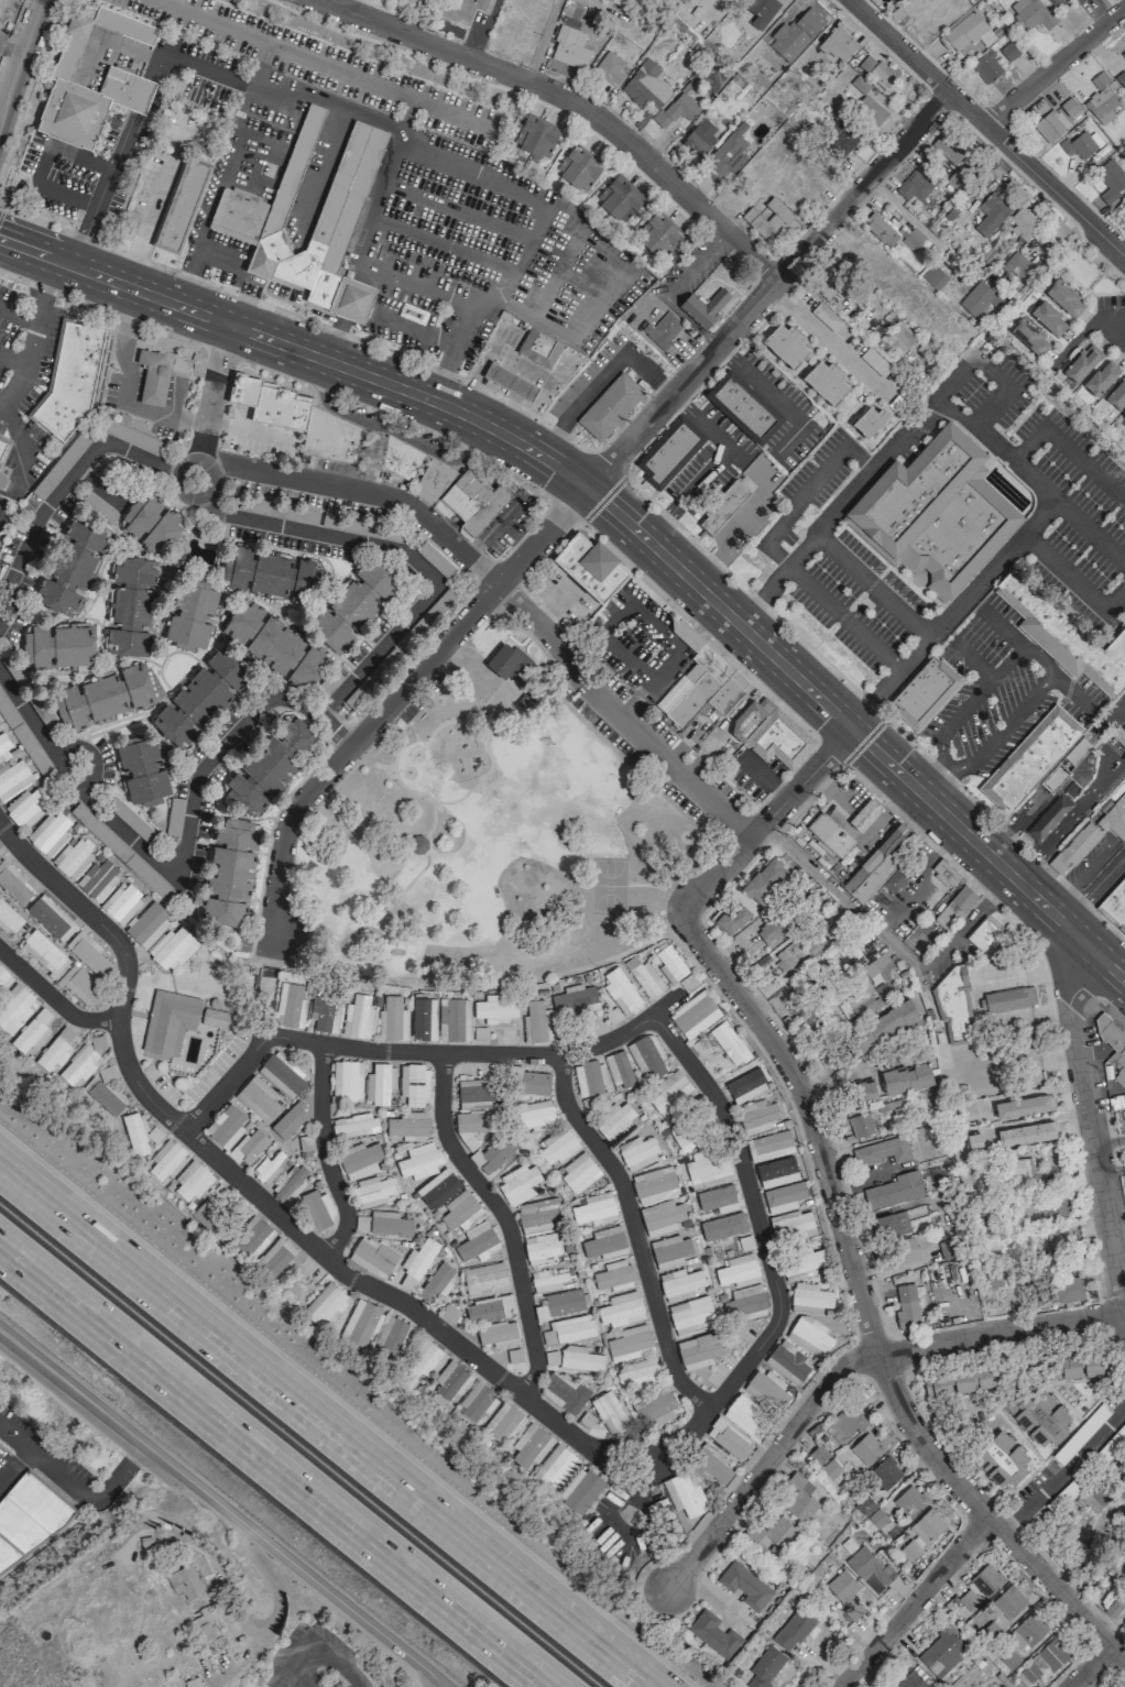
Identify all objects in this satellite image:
road: (587, 0)
building: (898, 0)
building: (1077, 1)
building: (620, 2)
building: (1058, 2)
building: (760, 4)
road: (353, 7)
building: (462, 9)
building: (930, 13)
building: (1033, 13)
building: (963, 33)
road: (543, 41)
building: (838, 45)
road: (877, 45)
building: (570, 47)
building: (1008, 52)
building: (1124, 53)
road: (407, 54)
road: (19, 55)
building: (1123, 57)
road: (328, 64)
road: (1052, 65)
building: (611, 67)
building: (987, 67)
building: (877, 70)
road: (229, 76)
building: (1123, 79)
building: (127, 80)
road: (25, 85)
building: (646, 85)
building: (855, 90)
road: (570, 100)
road: (937, 100)
building: (1104, 100)
building: (1069, 107)
building: (678, 109)
building: (873, 111)
building: (1051, 125)
road: (985, 129)
building: (537, 138)
building: (700, 138)
building: (841, 139)
building: (1080, 144)
building: (949, 149)
building: (728, 155)
road: (42, 162)
road: (116, 162)
building: (579, 169)
road: (383, 176)
building: (1113, 178)
building: (915, 187)
road: (518, 191)
road: (1039, 193)
road: (212, 194)
building: (620, 199)
building: (182, 207)
road: (455, 211)
building: (992, 212)
building: (251, 216)
building: (768, 219)
building: (1023, 223)
building: (881, 229)
building: (658, 235)
road: (86, 237)
building: (913, 239)
road: (439, 244)
road: (221, 250)
road: (37, 253)
road: (520, 253)
building: (872, 256)
building: (1019, 265)
road: (553, 269)
building: (935, 276)
building: (828, 277)
road: (424, 282)
road: (182, 286)
road: (580, 287)
road: (674, 287)
road: (766, 289)
building: (1066, 298)
building: (976, 299)
road: (602, 303)
building: (706, 306)
road: (101, 308)
building: (939, 310)
road: (539, 311)
road: (19, 313)
building: (827, 317)
road: (299, 318)
building: (1049, 318)
road: (1115, 321)
road: (463, 326)
road: (128, 329)
building: (664, 330)
road: (415, 332)
road: (33, 336)
building: (1030, 337)
building: (898, 338)
road: (828, 342)
building: (787, 344)
building: (539, 348)
road: (219, 358)
road: (613, 361)
building: (874, 361)
road: (12, 363)
building: (1082, 363)
road: (993, 372)
road: (275, 374)
road: (444, 374)
building: (151, 375)
building: (1102, 377)
building: (72, 381)
building: (511, 382)
building: (828, 382)
road: (214, 392)
road: (318, 395)
building: (1117, 395)
road: (774, 398)
building: (612, 405)
road: (145, 409)
building: (742, 409)
building: (299, 419)
road: (698, 419)
building: (1122, 420)
building: (869, 421)
road: (391, 429)
road: (249, 430)
road: (548, 438)
road: (24, 443)
building: (2, 449)
road: (1067, 450)
building: (669, 454)
road: (468, 456)
building: (397, 460)
road: (607, 464)
road: (68, 476)
road: (513, 476)
road: (1030, 476)
road: (577, 481)
road: (101, 490)
road: (685, 492)
building: (460, 495)
building: (723, 507)
road: (838, 508)
road: (564, 511)
building: (936, 513)
road: (0, 522)
building: (150, 523)
road: (494, 529)
road: (389, 547)
road: (785, 562)
building: (590, 566)
building: (70, 568)
road: (1064, 569)
building: (269, 573)
road: (876, 582)
road: (505, 593)
road: (1116, 596)
building: (353, 605)
building: (131, 606)
building: (433, 611)
road: (951, 612)
building: (190, 616)
road: (707, 618)
road: (645, 621)
road: (699, 631)
building: (1064, 635)
road: (689, 636)
building: (58, 645)
building: (275, 645)
road: (679, 646)
road: (1034, 651)
road: (816, 655)
road: (974, 660)
road: (1009, 662)
building: (507, 664)
building: (699, 681)
building: (209, 688)
building: (925, 691)
building: (103, 697)
road: (386, 700)
road: (959, 717)
building: (173, 727)
road: (1002, 730)
building: (769, 732)
building: (20, 734)
road: (863, 742)
building: (3, 749)
road: (830, 752)
building: (1042, 760)
building: (271, 765)
building: (143, 769)
road: (763, 776)
building: (13, 779)
road: (933, 779)
road: (887, 804)
building: (26, 807)
building: (864, 814)
building: (130, 820)
road: (764, 820)
road: (1069, 822)
building: (50, 833)
building: (829, 835)
building: (1090, 836)
park: (484, 842)
building: (417, 844)
building: (73, 857)
road: (182, 861)
building: (876, 867)
building: (230, 873)
building: (946, 874)
building: (98, 878)
building: (764, 879)
building: (12, 884)
road: (1093, 888)
building: (121, 903)
building: (1115, 905)
building: (954, 908)
road: (1053, 914)
building: (50, 918)
building: (8, 919)
building: (732, 919)
road: (869, 922)
building: (148, 925)
building: (769, 931)
building: (985, 938)
building: (171, 947)
building: (43, 953)
building: (87, 953)
building: (798, 955)
building: (668, 962)
building: (3, 977)
road: (482, 978)
building: (645, 978)
building: (688, 982)
building: (80, 986)
road: (1068, 987)
road: (976, 988)
building: (620, 989)
road: (266, 993)
road: (53, 998)
building: (1006, 999)
building: (575, 1001)
building: (856, 1001)
building: (290, 1006)
building: (953, 1007)
road: (1107, 1008)
building: (15, 1009)
building: (493, 1009)
building: (325, 1014)
building: (612, 1015)
building: (693, 1015)
building: (358, 1017)
building: (214, 1018)
building: (392, 1019)
building: (424, 1019)
building: (452, 1019)
building: (168, 1021)
building: (536, 1022)
building: (883, 1027)
building: (32, 1032)
building: (729, 1042)
building: (1113, 1043)
building: (55, 1050)
road: (476, 1053)
building: (646, 1056)
building: (79, 1066)
building: (618, 1069)
building: (282, 1073)
building: (905, 1077)
building: (589, 1078)
road: (225, 1082)
building: (346, 1082)
building: (535, 1083)
building: (379, 1084)
building: (414, 1084)
building: (742, 1087)
building: (668, 1093)
building: (865, 1093)
building: (476, 1094)
building: (105, 1096)
building: (256, 1099)
building: (1116, 1102)
building: (1022, 1106)
building: (966, 1107)
building: (294, 1115)
building: (533, 1115)
building: (756, 1116)
building: (615, 1121)
building: (354, 1125)
building: (861, 1125)
building: (226, 1126)
building: (408, 1126)
building: (473, 1126)
building: (692, 1129)
road: (1089, 1132)
building: (1026, 1133)
building: (134, 1135)
building: (153, 1135)
building: (973, 1142)
building: (769, 1146)
building: (249, 1147)
building: (557, 1147)
building: (637, 1152)
building: (881, 1152)
building: (494, 1153)
road: (324, 1155)
building: (359, 1160)
building: (165, 1161)
building: (418, 1161)
building: (707, 1164)
building: (269, 1168)
building: (1024, 1171)
building: (776, 1172)
building: (578, 1173)
building: (192, 1182)
building: (292, 1183)
building: (518, 1183)
building: (654, 1185)
building: (437, 1188)
building: (894, 1191)
building: (371, 1192)
building: (783, 1197)
building: (717, 1198)
road: (262, 1201)
building: (1053, 1206)
building: (317, 1209)
building: (594, 1209)
building: (460, 1211)
building: (537, 1215)
building: (660, 1217)
road: (503, 1218)
building: (361, 1223)
building: (389, 1223)
building: (888, 1225)
building: (722, 1226)
building: (791, 1226)
road: (634, 1231)
building: (1059, 1237)
building: (477, 1241)
building: (604, 1244)
building: (540, 1249)
building: (947, 1249)
building: (670, 1251)
building: (902, 1251)
road: (765, 1255)
building: (372, 1257)
building: (274, 1258)
building: (416, 1262)
building: (801, 1263)
building: (1058, 1263)
building: (738, 1270)
building: (613, 1275)
building: (991, 1279)
building: (484, 1280)
building: (546, 1281)
building: (437, 1282)
building: (679, 1284)
building: (564, 1301)
building: (745, 1303)
building: (325, 1306)
building: (906, 1306)
building: (488, 1308)
building: (621, 1310)
road: (863, 1311)
building: (690, 1315)
building: (360, 1323)
building: (568, 1329)
building: (498, 1334)
building: (809, 1335)
building: (391, 1338)
building: (630, 1343)
building: (698, 1350)
building: (579, 1359)
building: (424, 1360)
building: (788, 1361)
road: (842, 1365)
building: (1067, 1366)
building: (638, 1372)
building: (451, 1380)
building: (964, 1380)
building: (766, 1390)
building: (564, 1392)
building: (477, 1402)
building: (655, 1407)
building: (610, 1413)
building: (1039, 1413)
building: (746, 1416)
building: (502, 1423)
building: (843, 1424)
road: (323, 1426)
building: (1084, 1429)
building: (729, 1438)
building: (1114, 1443)
building: (529, 1445)
building: (866, 1448)
building: (817, 1455)
building: (1002, 1458)
building: (711, 1464)
road: (270, 1466)
building: (555, 1467)
building: (831, 1468)
road: (1063, 1471)
building: (885, 1472)
road: (74, 1488)
building: (580, 1490)
building: (685, 1493)
building: (798, 1497)
building: (1063, 1497)
building: (1096, 1497)
building: (909, 1500)
building: (864, 1504)
road: (633, 1505)
road: (222, 1509)
building: (29, 1516)
building: (876, 1518)
building: (927, 1526)
building: (772, 1533)
building: (908, 1549)
building: (867, 1565)
building: (985, 1579)
building: (184, 1581)
building: (744, 1585)
building: (844, 1592)
building: (968, 1598)
road: (910, 1602)
building: (1008, 1602)
building: (1114, 1607)
road: (274, 1609)
building: (204, 1625)
building: (1030, 1629)
building: (793, 1630)
building: (713, 1634)
road: (321, 1652)
building: (941, 1652)
building: (1009, 1658)
building: (1040, 1663)
road: (1089, 1666)
building: (765, 1667)
building: (910, 1680)
building: (192, 1681)
building: (1002, 1686)

